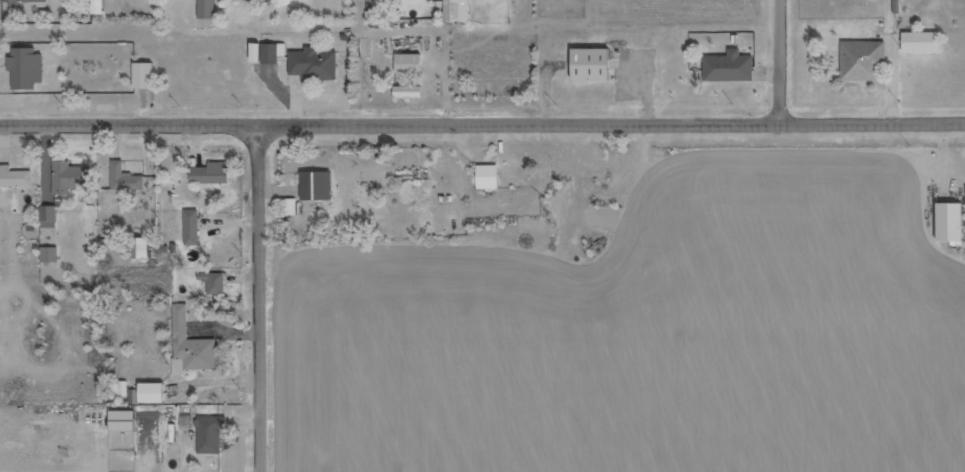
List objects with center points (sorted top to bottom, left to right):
building: (24, 2)
building: (99, 7)
building: (206, 8)
building: (453, 10)
building: (921, 41)
building: (256, 53)
building: (269, 55)
building: (862, 59)
road: (782, 62)
building: (409, 64)
building: (313, 65)
building: (591, 65)
building: (26, 69)
building: (728, 70)
building: (144, 76)
road: (482, 124)
building: (210, 172)
building: (66, 177)
building: (488, 177)
building: (14, 178)
building: (124, 179)
building: (316, 187)
building: (290, 207)
building: (48, 215)
building: (950, 223)
building: (192, 227)
building: (139, 249)
building: (49, 254)
building: (213, 283)
road: (262, 298)
building: (190, 345)
building: (133, 401)
building: (210, 435)

